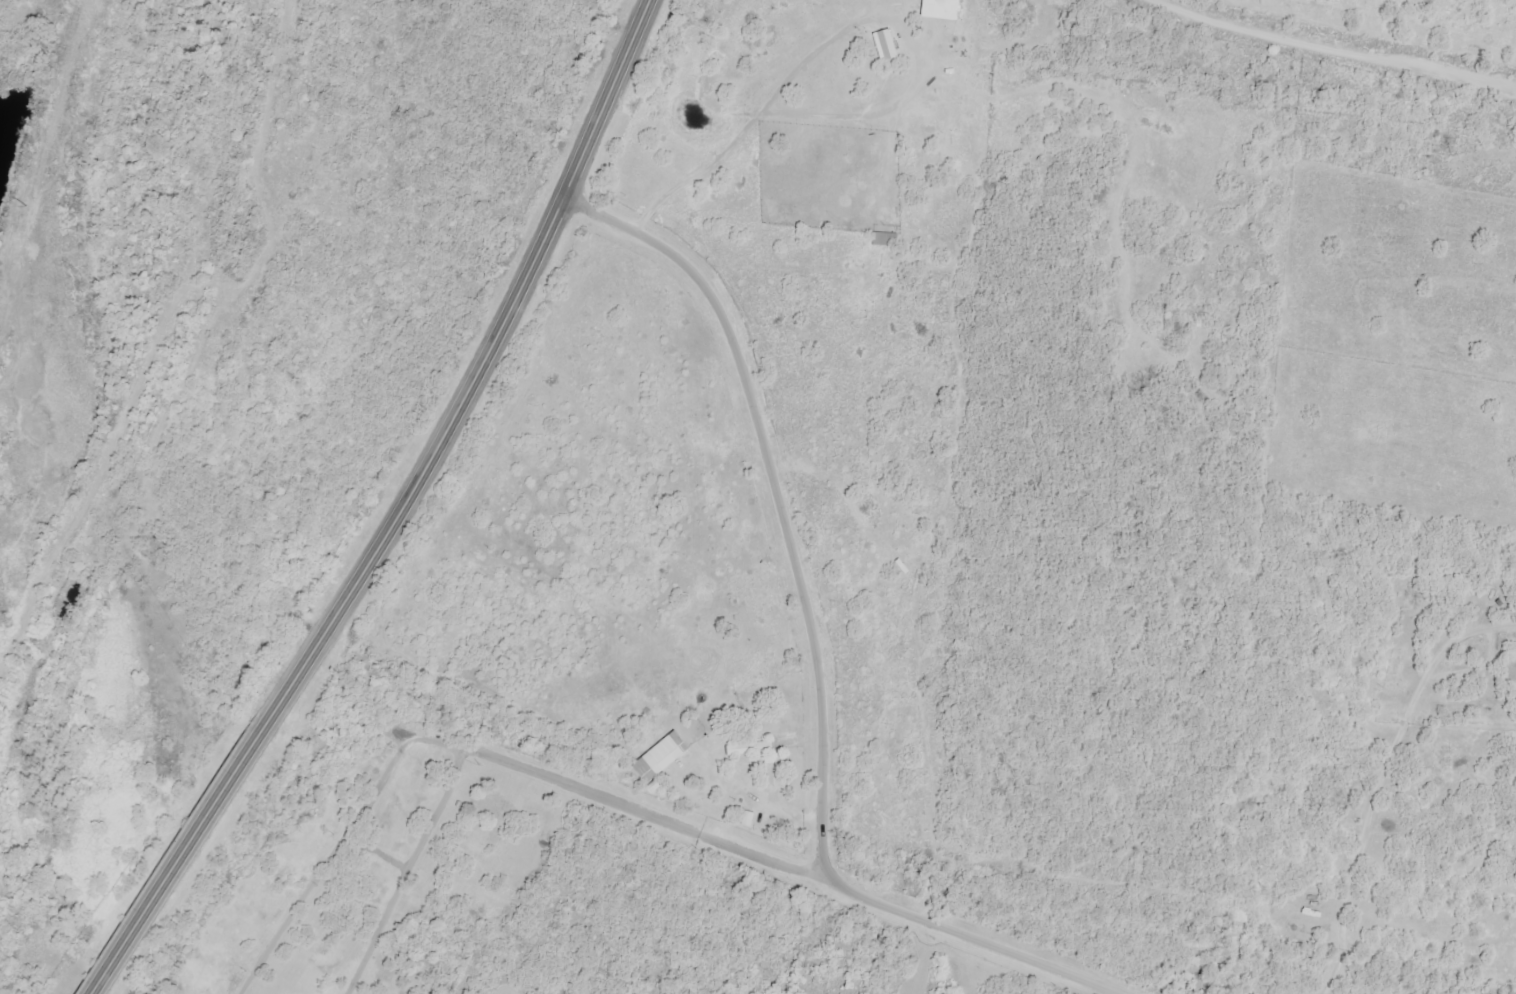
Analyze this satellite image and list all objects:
road: (1340, 47)
power tower: (61, 62)
road: (607, 100)
power tower: (24, 206)
railway: (138, 370)
road: (349, 608)
road: (813, 647)
building: (749, 750)
road: (475, 754)
building: (662, 756)
road: (651, 819)
road: (341, 843)
road: (375, 856)
park: (373, 862)
road: (405, 872)

